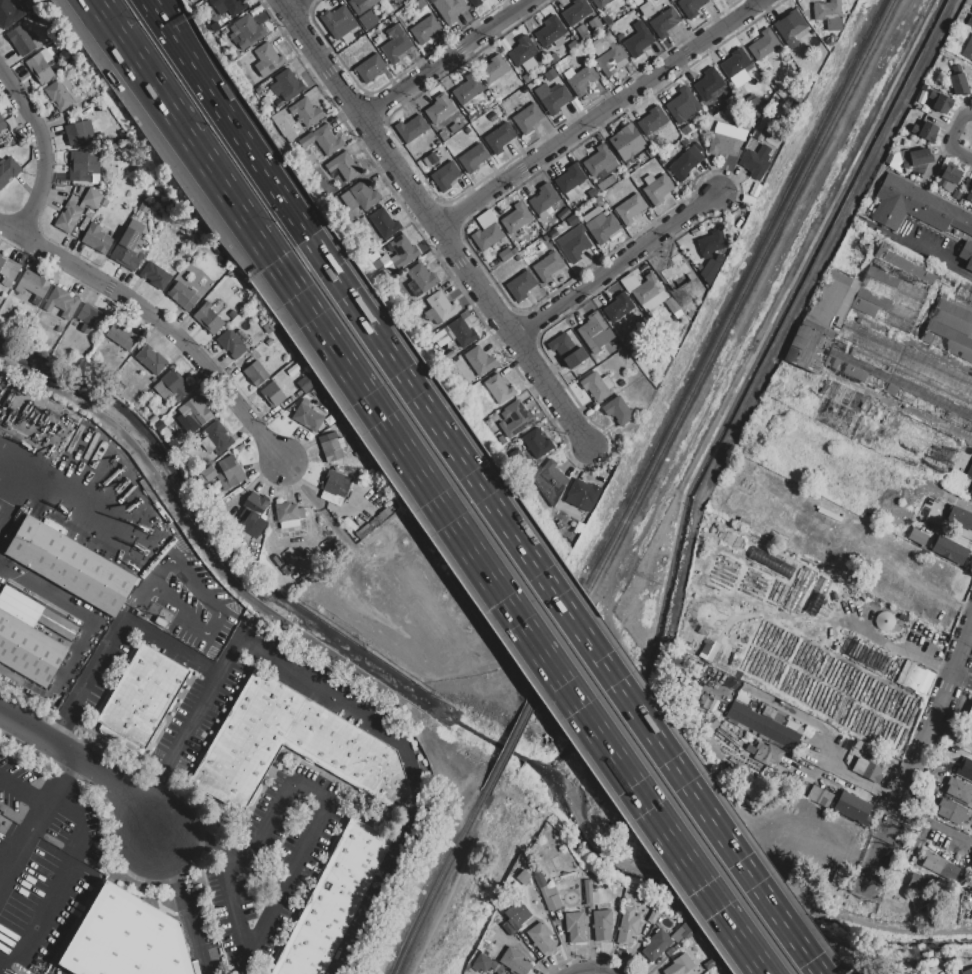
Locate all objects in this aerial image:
building: (713, 0)
building: (474, 1)
building: (637, 2)
building: (600, 3)
road: (291, 4)
building: (420, 4)
building: (361, 5)
building: (228, 6)
building: (690, 7)
building: (449, 9)
building: (575, 13)
building: (8, 14)
building: (828, 15)
building: (607, 20)
building: (970, 21)
building: (338, 22)
building: (664, 22)
building: (790, 26)
building: (424, 30)
building: (549, 31)
building: (248, 32)
building: (585, 35)
building: (620, 37)
building: (638, 40)
building: (20, 41)
building: (395, 45)
building: (763, 45)
building: (573, 46)
building: (968, 49)
building: (523, 52)
road: (187, 54)
road: (196, 54)
building: (610, 57)
road: (446, 59)
building: (267, 60)
building: (735, 63)
building: (40, 67)
building: (370, 67)
building: (493, 70)
building: (550, 74)
building: (526, 78)
building: (580, 79)
building: (956, 82)
building: (708, 84)
building: (289, 85)
building: (467, 91)
building: (61, 94)
building: (552, 98)
building: (939, 103)
building: (683, 105)
building: (752, 105)
building: (439, 109)
building: (469, 110)
building: (306, 113)
road: (598, 113)
building: (527, 118)
building: (652, 121)
building: (3, 124)
building: (283, 126)
building: (455, 127)
building: (410, 129)
building: (760, 129)
building: (685, 130)
road: (185, 131)
building: (924, 131)
building: (730, 132)
building: (79, 133)
building: (499, 138)
road: (952, 138)
building: (327, 139)
building: (627, 143)
building: (723, 145)
road: (36, 152)
building: (915, 156)
building: (432, 158)
building: (473, 158)
building: (601, 161)
building: (756, 161)
building: (685, 163)
building: (83, 165)
building: (344, 166)
building: (8, 170)
road: (268, 174)
building: (445, 176)
building: (570, 178)
building: (948, 179)
building: (605, 183)
building: (657, 188)
building: (957, 195)
building: (969, 195)
building: (92, 198)
building: (360, 198)
building: (543, 200)
building: (143, 207)
building: (917, 207)
building: (630, 208)
building: (68, 217)
building: (516, 218)
building: (483, 219)
building: (383, 223)
road: (434, 223)
building: (602, 227)
building: (486, 236)
building: (96, 239)
building: (573, 241)
building: (711, 242)
building: (127, 250)
building: (402, 252)
building: (504, 254)
building: (966, 254)
road: (933, 257)
road: (615, 262)
building: (905, 265)
building: (547, 267)
building: (711, 267)
building: (674, 269)
building: (8, 271)
building: (155, 275)
building: (420, 280)
building: (944, 281)
building: (629, 282)
building: (521, 285)
building: (32, 286)
building: (647, 288)
building: (964, 292)
building: (183, 295)
building: (888, 299)
building: (61, 302)
building: (440, 308)
building: (619, 311)
building: (209, 318)
building: (93, 320)
building: (822, 321)
road: (157, 325)
building: (950, 328)
building: (594, 331)
building: (460, 332)
building: (120, 336)
building: (269, 343)
building: (231, 344)
building: (567, 350)
building: (449, 355)
building: (151, 359)
building: (479, 361)
building: (454, 364)
building: (260, 369)
building: (903, 373)
building: (174, 383)
building: (305, 384)
building: (596, 386)
building: (499, 390)
building: (272, 395)
building: (195, 411)
building: (619, 411)
building: (307, 417)
building: (516, 419)
building: (218, 437)
building: (537, 444)
building: (331, 447)
building: (232, 471)
building: (970, 472)
building: (208, 473)
road: (6, 475)
building: (555, 480)
railway: (643, 485)
building: (334, 487)
road: (6, 491)
building: (970, 494)
building: (583, 495)
building: (288, 512)
building: (255, 515)
building: (960, 518)
building: (917, 537)
building: (950, 550)
building: (71, 566)
building: (823, 583)
road: (566, 607)
road: (527, 617)
road: (127, 619)
road: (969, 639)
building: (26, 642)
road: (252, 646)
road: (958, 677)
building: (913, 678)
road: (967, 682)
building: (143, 694)
building: (969, 713)
building: (763, 725)
road: (62, 728)
building: (971, 735)
building: (294, 746)
building: (766, 754)
road: (919, 760)
road: (87, 761)
building: (867, 770)
building: (965, 770)
road: (856, 777)
road: (66, 781)
road: (26, 790)
building: (958, 790)
building: (818, 796)
road: (149, 801)
building: (853, 808)
building: (952, 812)
road: (935, 824)
road: (201, 843)
road: (249, 846)
road: (26, 849)
road: (387, 859)
building: (938, 865)
building: (971, 866)
road: (68, 868)
building: (523, 877)
road: (287, 879)
building: (917, 884)
building: (590, 893)
building: (550, 896)
road: (755, 896)
building: (333, 901)
railway: (441, 901)
road: (184, 903)
building: (653, 917)
building: (518, 919)
building: (602, 925)
building: (628, 926)
building: (575, 927)
building: (689, 931)
building: (125, 938)
building: (541, 938)
building: (656, 945)
building: (515, 961)
building: (481, 963)
building: (711, 964)
building: (680, 965)
road: (247, 966)
building: (967, 971)
road: (590, 972)
building: (496, 973)
building: (498, 973)

